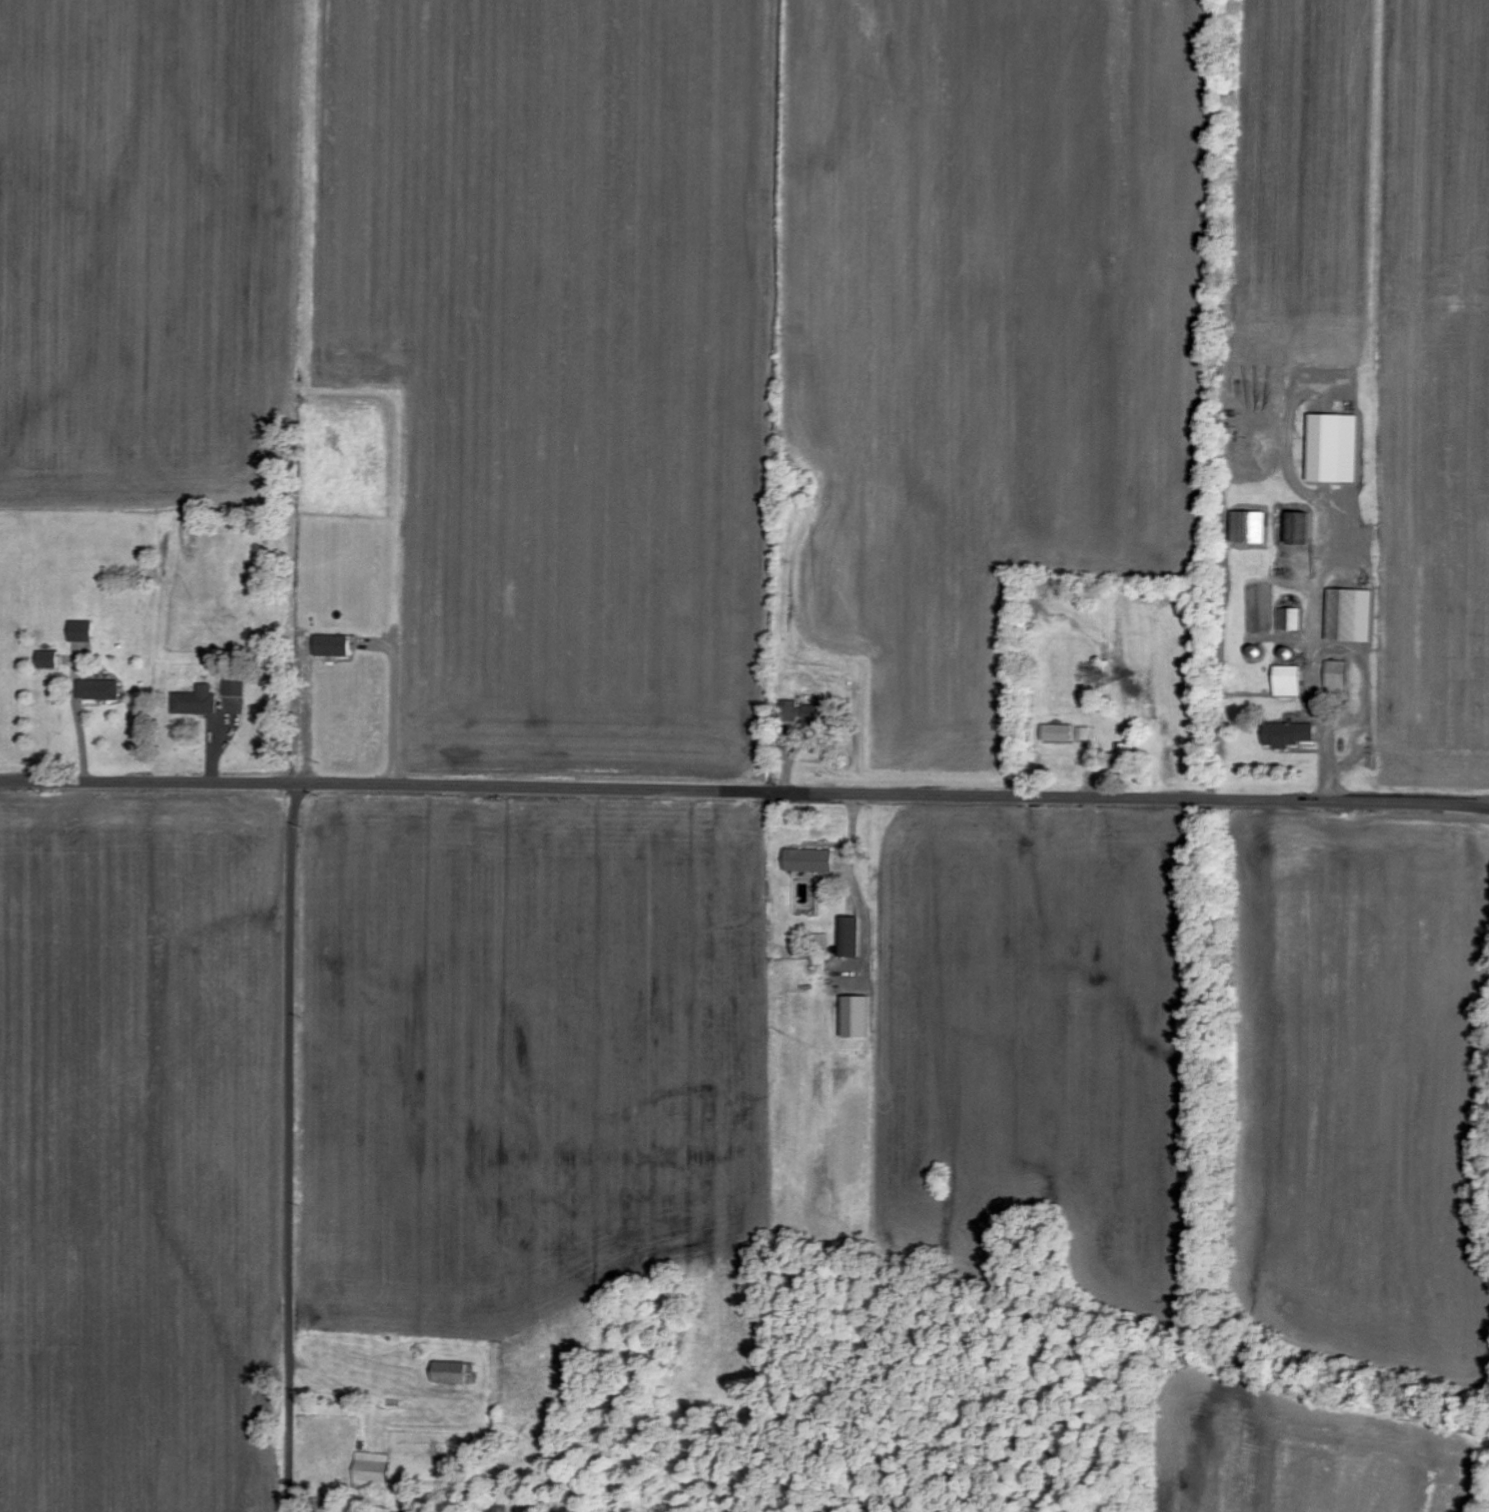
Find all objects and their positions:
building: (1332, 448)
building: (1248, 527)
building: (1299, 528)
building: (1349, 616)
building: (1288, 620)
building: (79, 632)
building: (331, 646)
building: (46, 660)
building: (1335, 677)
building: (1287, 682)
building: (234, 687)
building: (98, 690)
building: (194, 702)
building: (789, 711)
building: (813, 715)
building: (1057, 734)
building: (1288, 735)
road: (744, 792)
building: (807, 861)
building: (849, 938)
building: (855, 1018)
road: (290, 1147)
building: (453, 1374)
building: (371, 1472)

